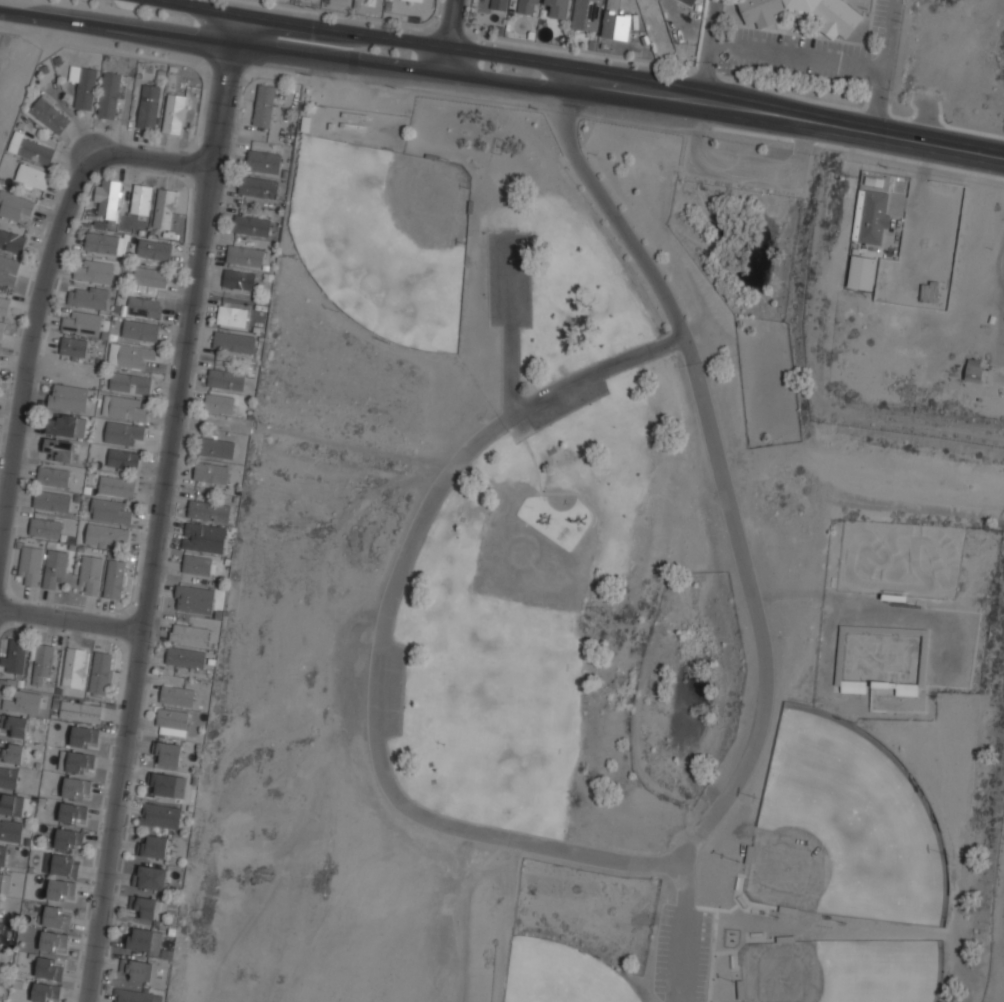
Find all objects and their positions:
building: (414, 0)
building: (687, 1)
building: (498, 4)
building: (526, 7)
building: (558, 8)
building: (585, 14)
building: (840, 19)
building: (615, 22)
road: (368, 34)
road: (449, 36)
road: (283, 52)
road: (713, 52)
road: (798, 56)
parking lot: (816, 56)
road: (881, 68)
building: (84, 86)
building: (109, 95)
building: (264, 105)
building: (148, 106)
building: (174, 113)
building: (51, 114)
road: (786, 119)
building: (34, 151)
road: (151, 158)
building: (263, 161)
building: (31, 178)
building: (877, 182)
building: (258, 186)
building: (108, 197)
building: (141, 198)
building: (15, 206)
building: (164, 208)
building: (871, 215)
building: (251, 224)
park: (384, 237)
building: (12, 242)
building: (101, 243)
building: (154, 249)
building: (244, 254)
building: (8, 270)
building: (95, 271)
building: (862, 272)
building: (150, 276)
parking lot: (508, 278)
building: (239, 279)
building: (87, 297)
building: (4, 304)
building: (144, 306)
building: (232, 316)
building: (82, 322)
road: (509, 325)
building: (1, 328)
building: (140, 329)
building: (234, 342)
building: (74, 346)
road: (30, 350)
building: (132, 354)
building: (973, 369)
building: (226, 380)
building: (130, 383)
building: (67, 397)
building: (219, 404)
building: (127, 408)
parking lot: (558, 409)
building: (61, 425)
building: (123, 432)
building: (216, 447)
building: (58, 450)
building: (123, 459)
building: (211, 471)
building: (54, 476)
building: (116, 485)
building: (51, 500)
road: (161, 507)
building: (110, 510)
building: (209, 510)
building: (48, 528)
building: (105, 534)
building: (203, 537)
building: (198, 564)
building: (30, 565)
building: (55, 568)
building: (91, 573)
building: (114, 579)
building: (194, 598)
park: (590, 598)
road: (71, 620)
building: (189, 633)
building: (16, 655)
building: (188, 658)
building: (43, 664)
building: (73, 667)
building: (100, 672)
building: (853, 686)
building: (906, 689)
building: (177, 695)
building: (26, 702)
building: (80, 711)
building: (172, 718)
building: (14, 725)
building: (84, 736)
building: (12, 753)
building: (168, 753)
building: (80, 762)
building: (8, 777)
building: (163, 785)
building: (76, 787)
building: (11, 805)
building: (73, 813)
building: (160, 816)
building: (10, 829)
building: (69, 839)
building: (154, 846)
building: (2, 854)
road: (646, 859)
building: (65, 864)
building: (150, 877)
building: (4, 883)
building: (61, 890)
building: (146, 907)
building: (57, 916)
road: (682, 922)
building: (140, 938)
building: (52, 941)
parking lot: (683, 952)
building: (49, 966)
building: (134, 969)
park: (562, 974)
park: (835, 979)
building: (45, 992)
building: (136, 996)

